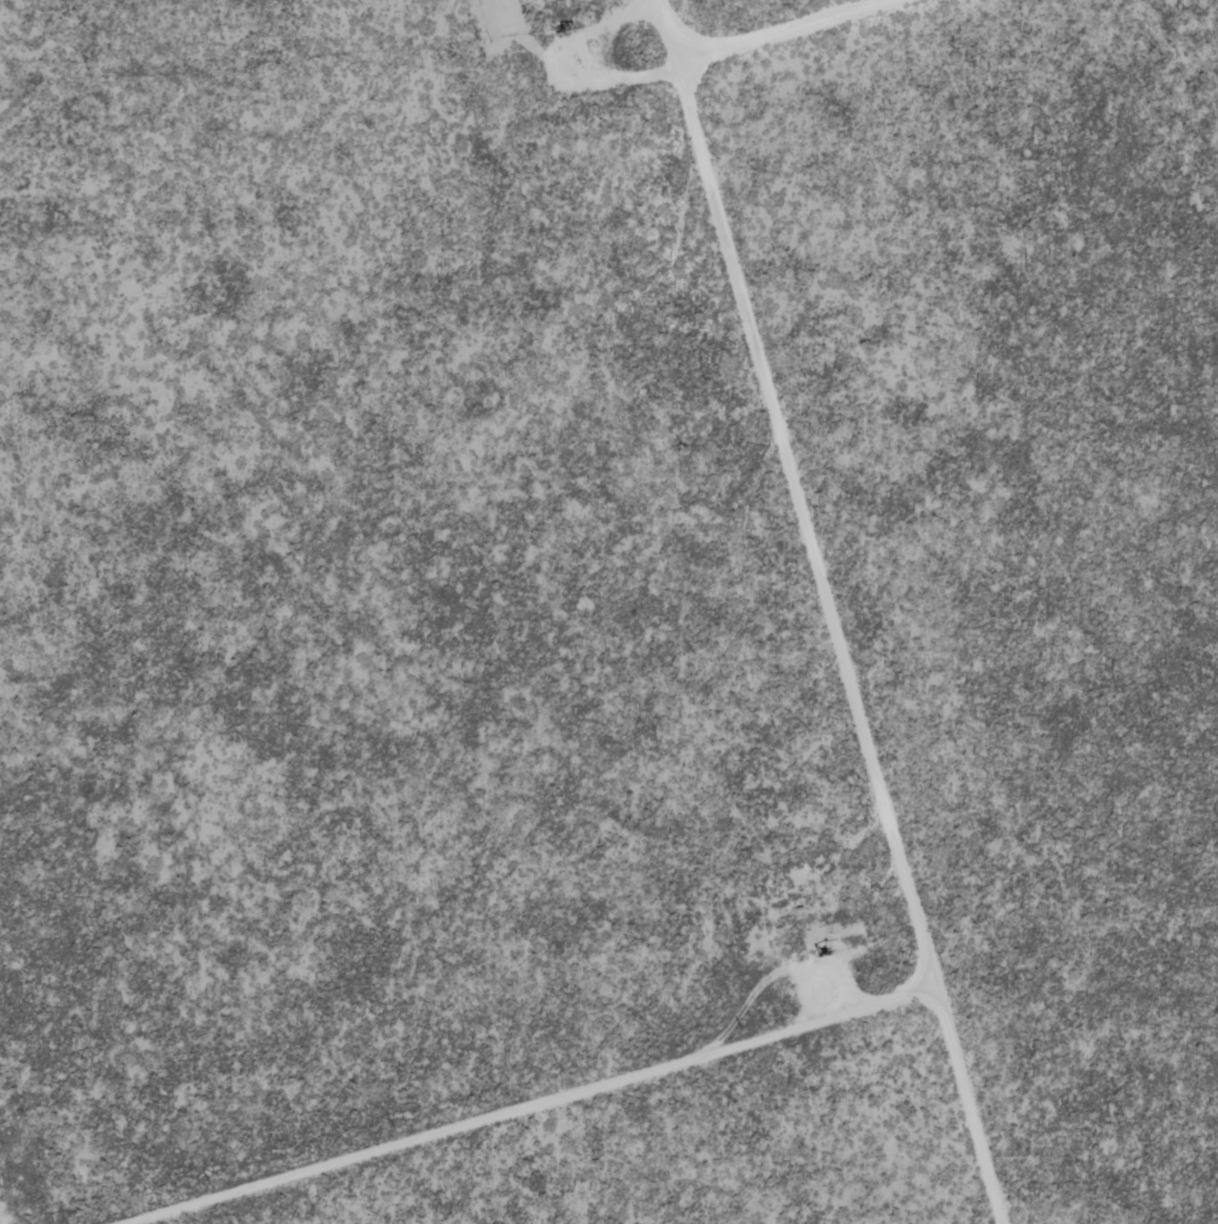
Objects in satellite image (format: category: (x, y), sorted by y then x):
road: (792, 27)
road: (929, 914)
road: (7, 1219)

